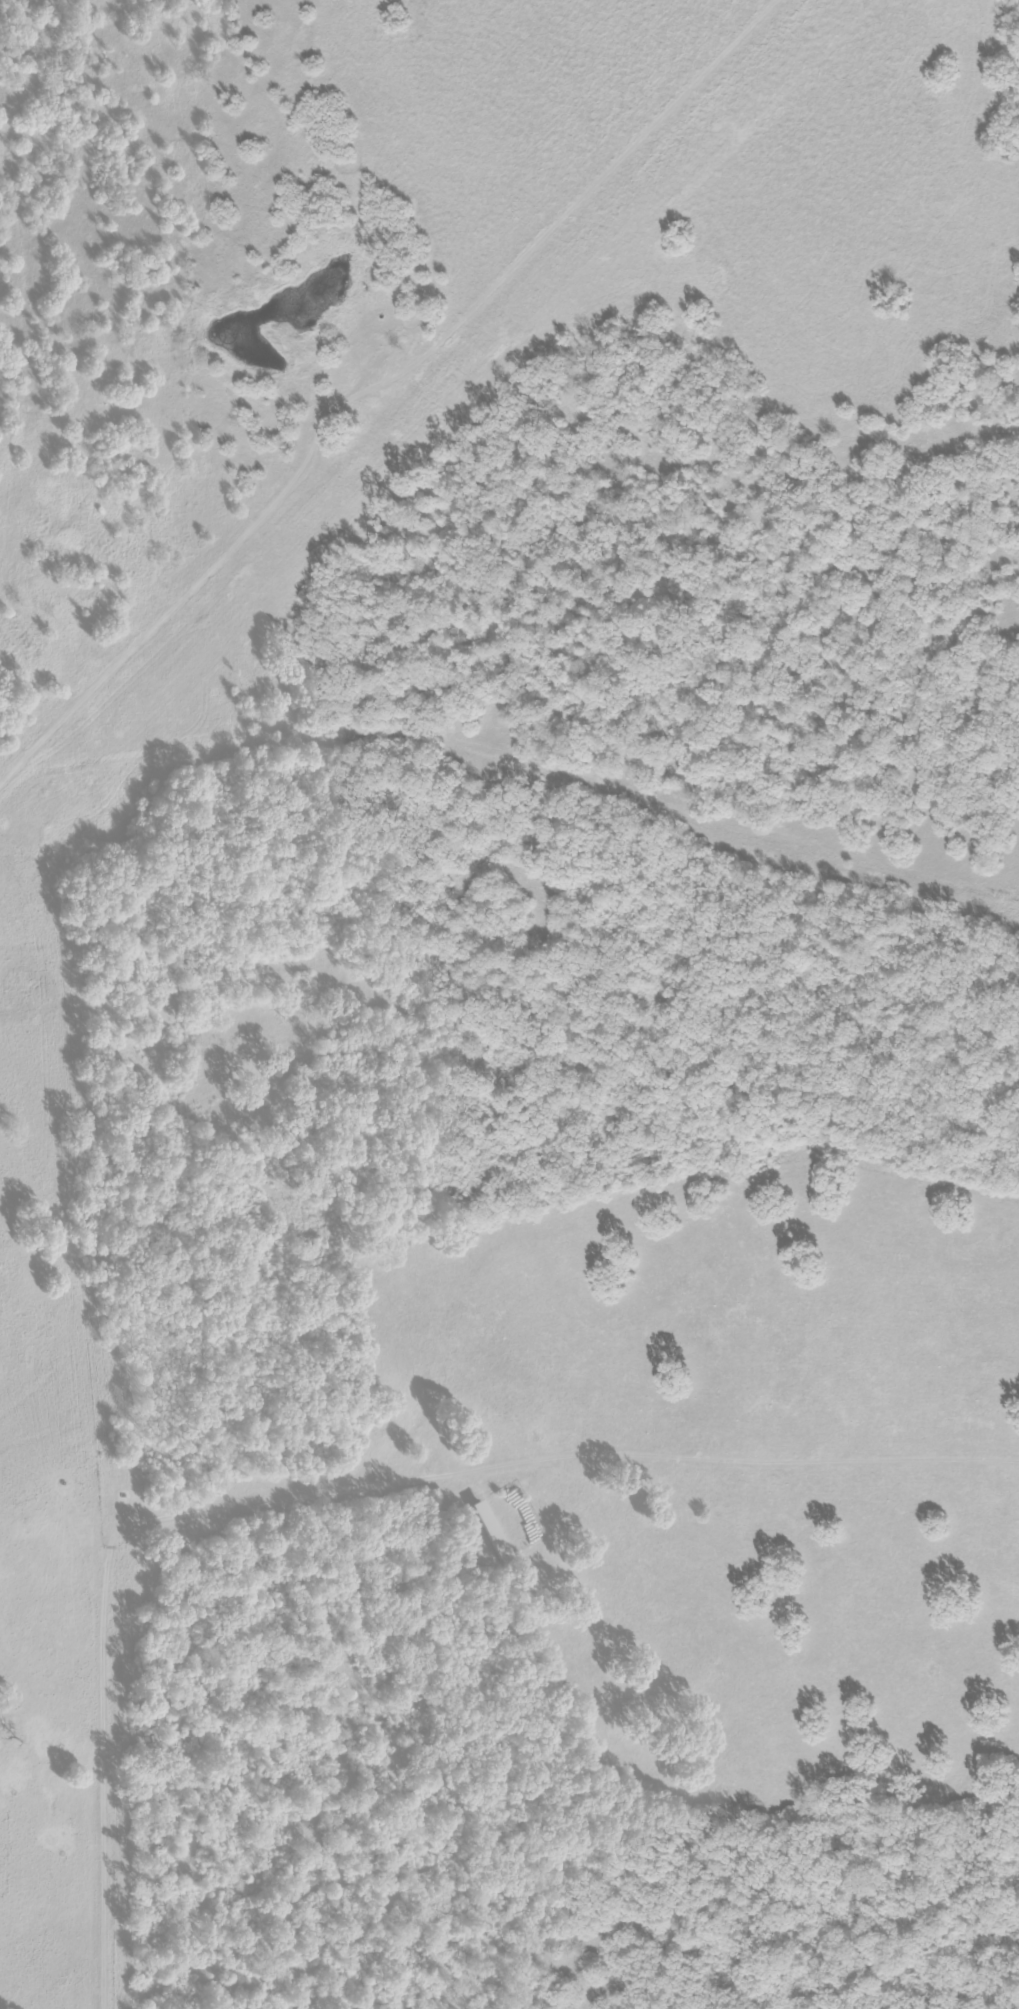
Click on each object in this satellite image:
building: (486, 1531)

